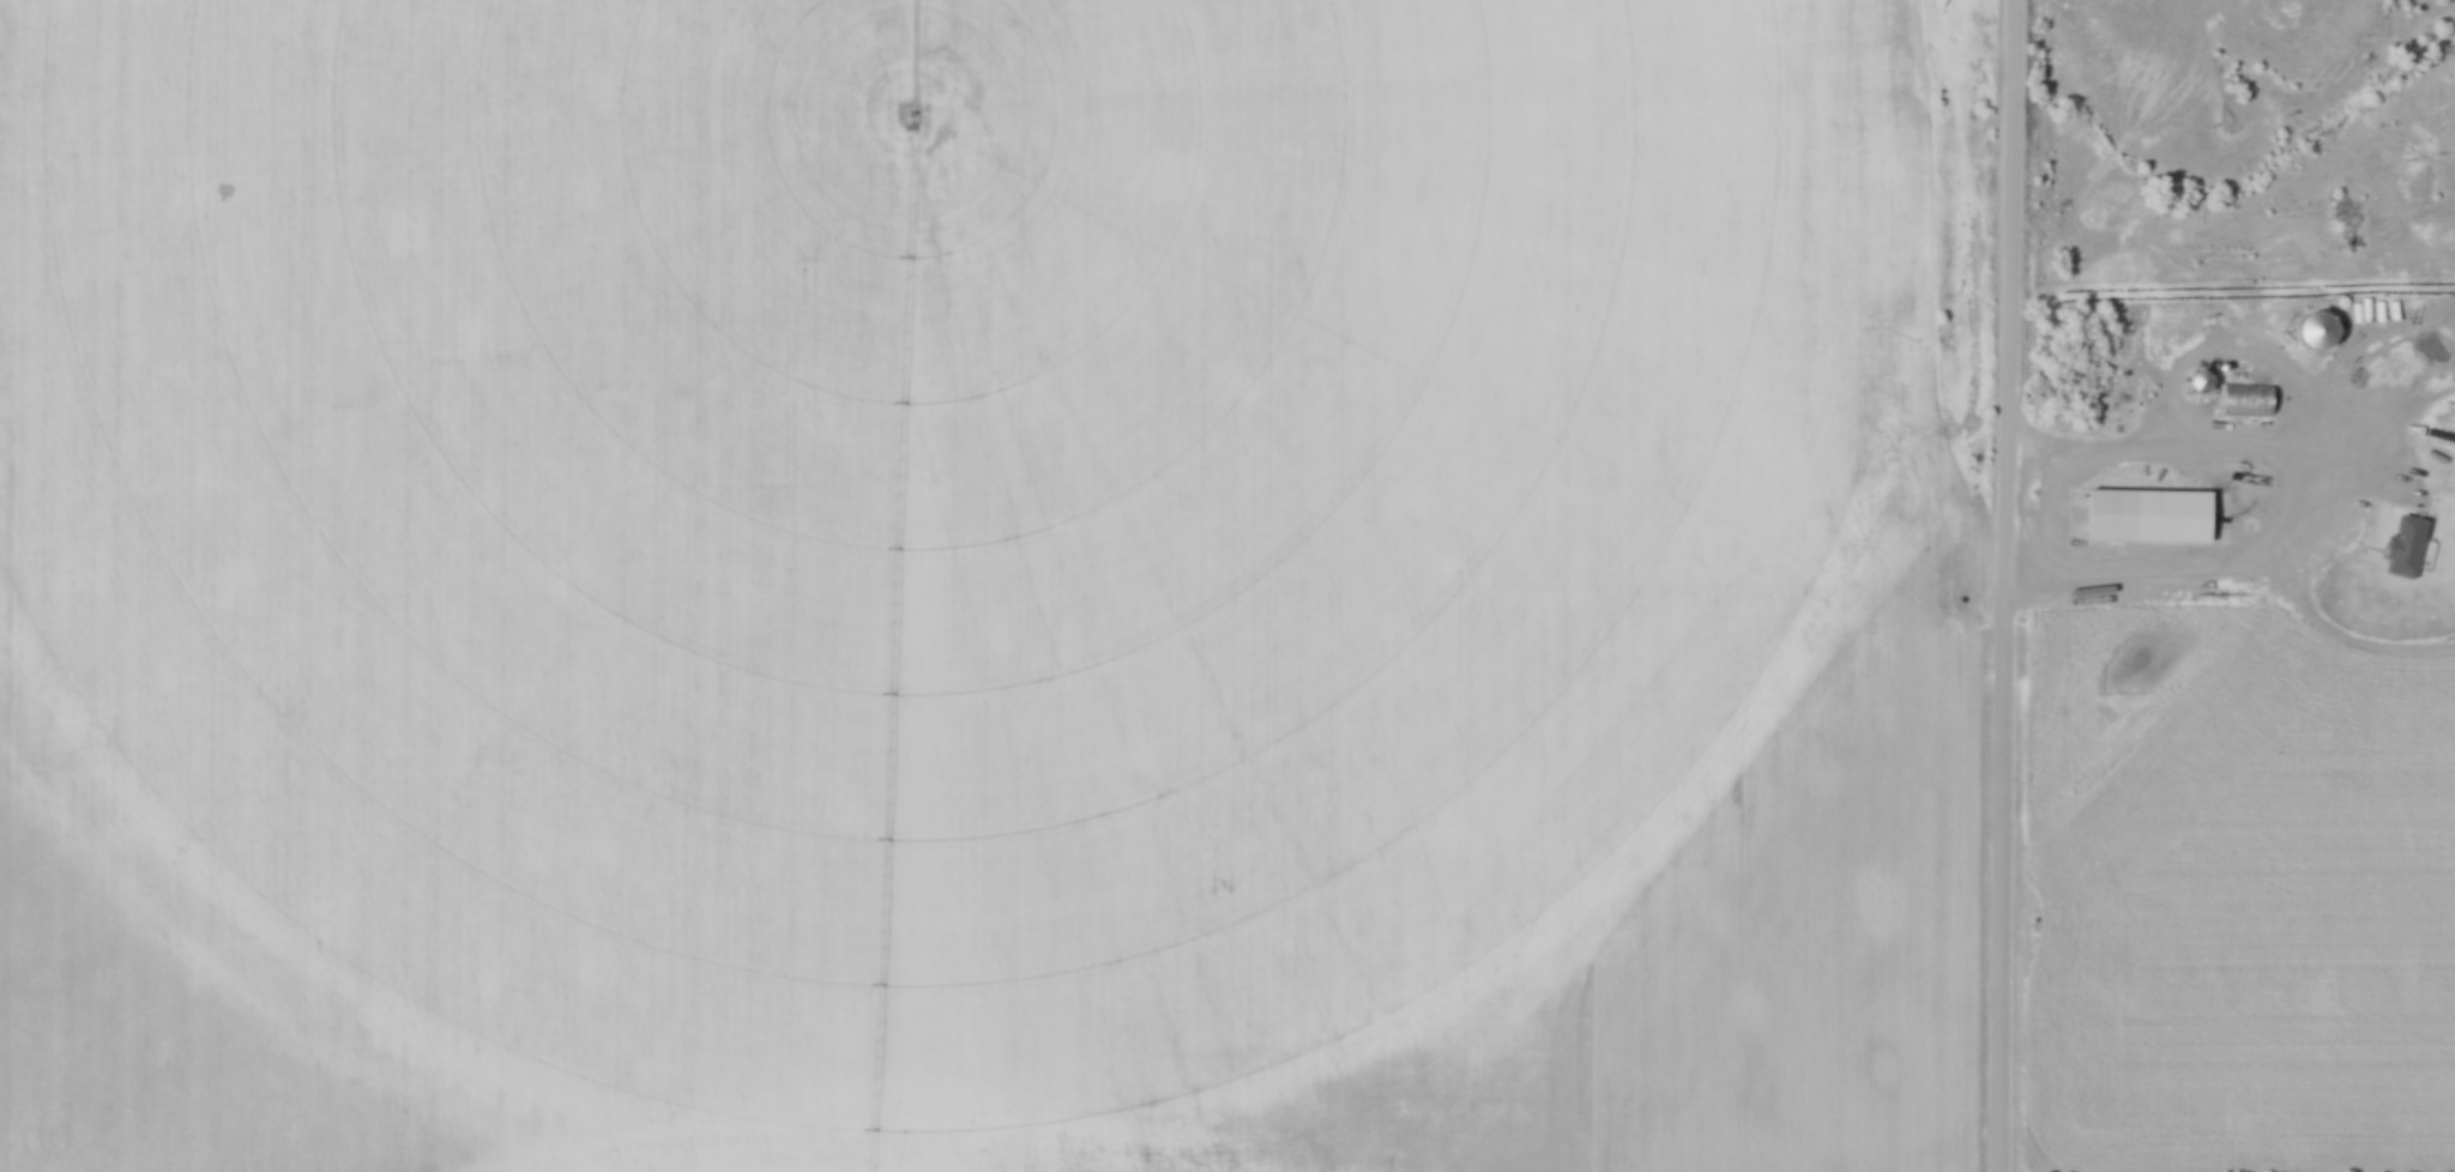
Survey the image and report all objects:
building: (2317, 330)
building: (2203, 380)
building: (2248, 399)
road: (2106, 443)
road: (2267, 490)
building: (2196, 513)
road: (2004, 585)

